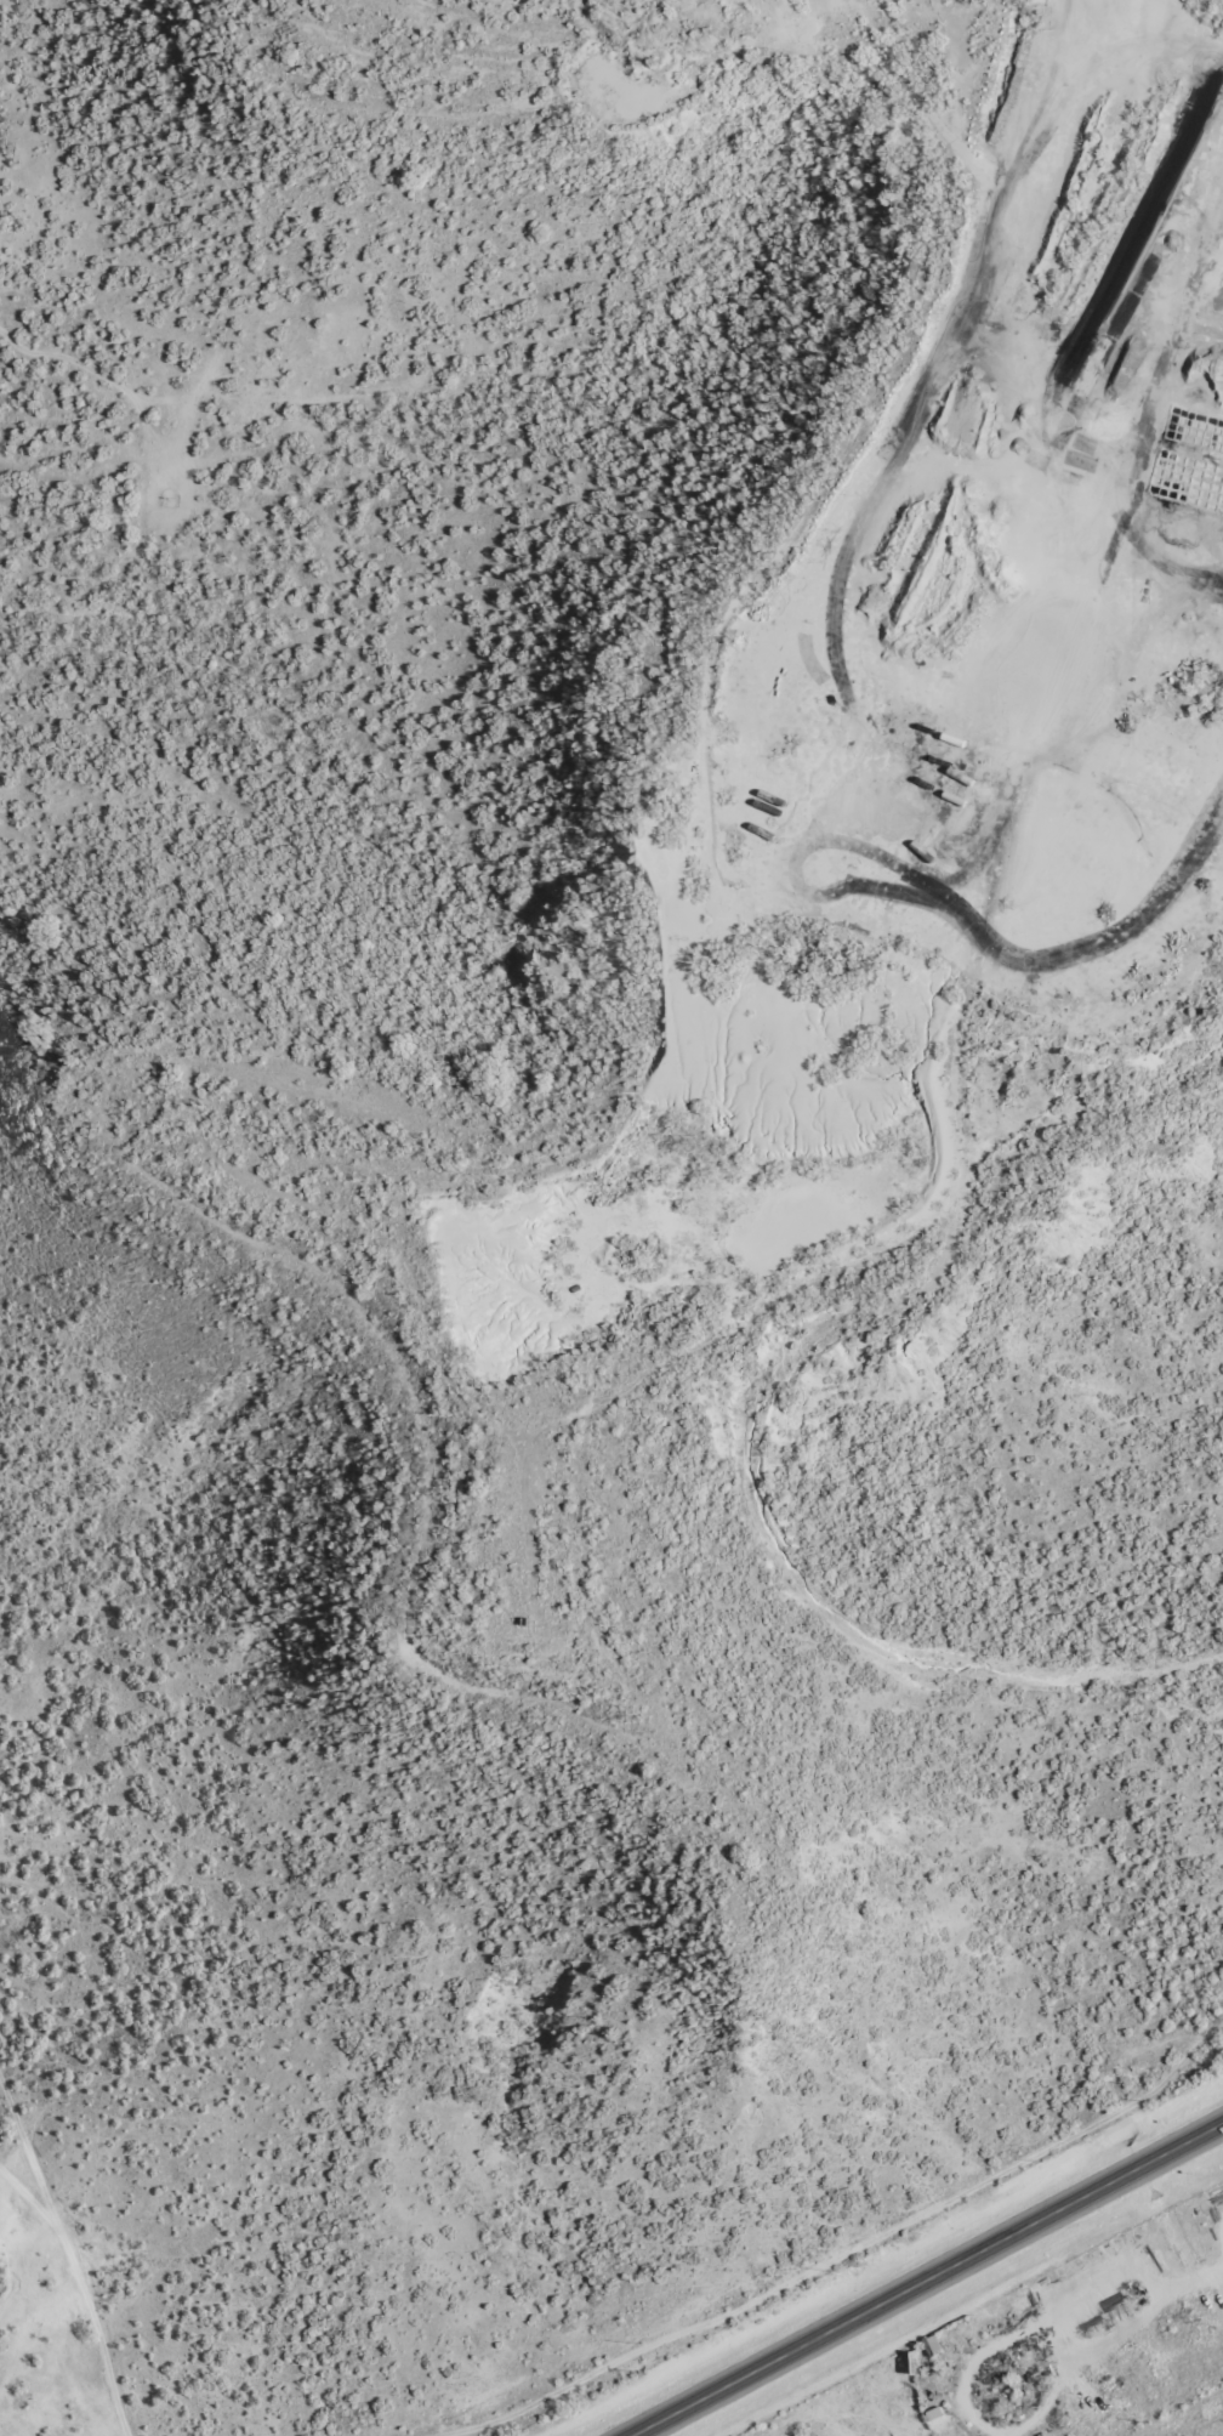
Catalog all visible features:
road: (925, 2277)
road: (66, 2324)
building: (934, 2413)

